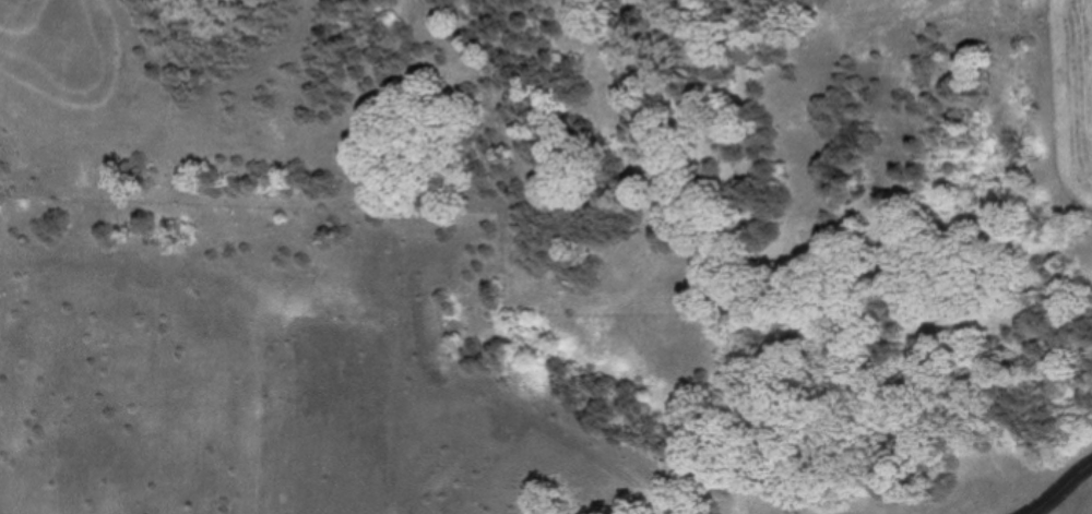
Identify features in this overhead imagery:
road: (1067, 495)

